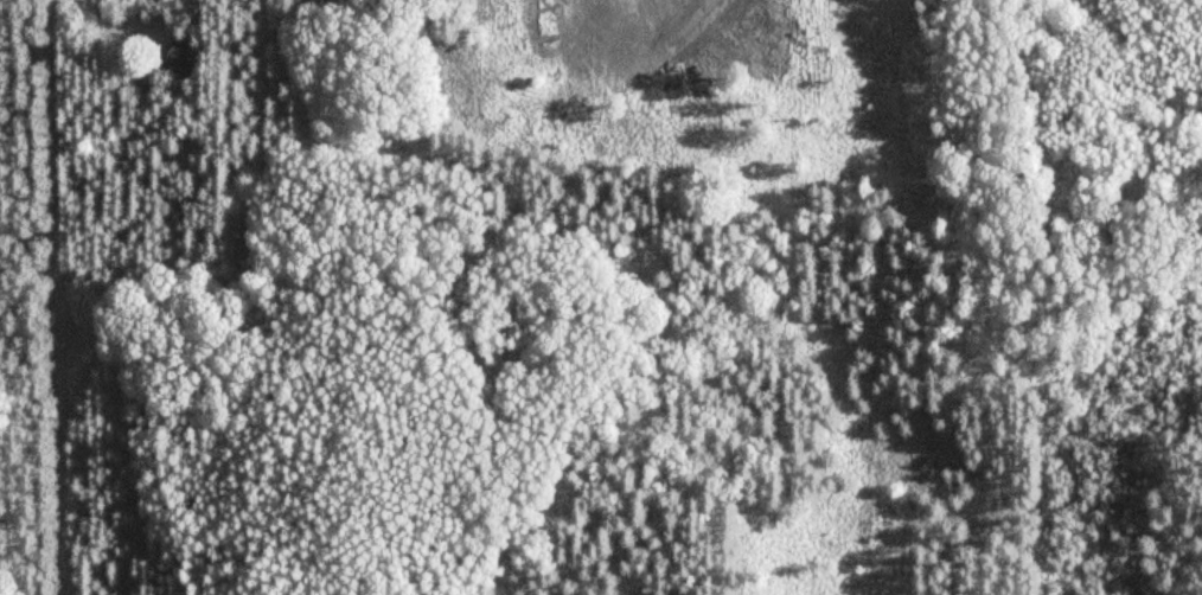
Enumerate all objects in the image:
building: (181, 55)
road: (58, 296)

